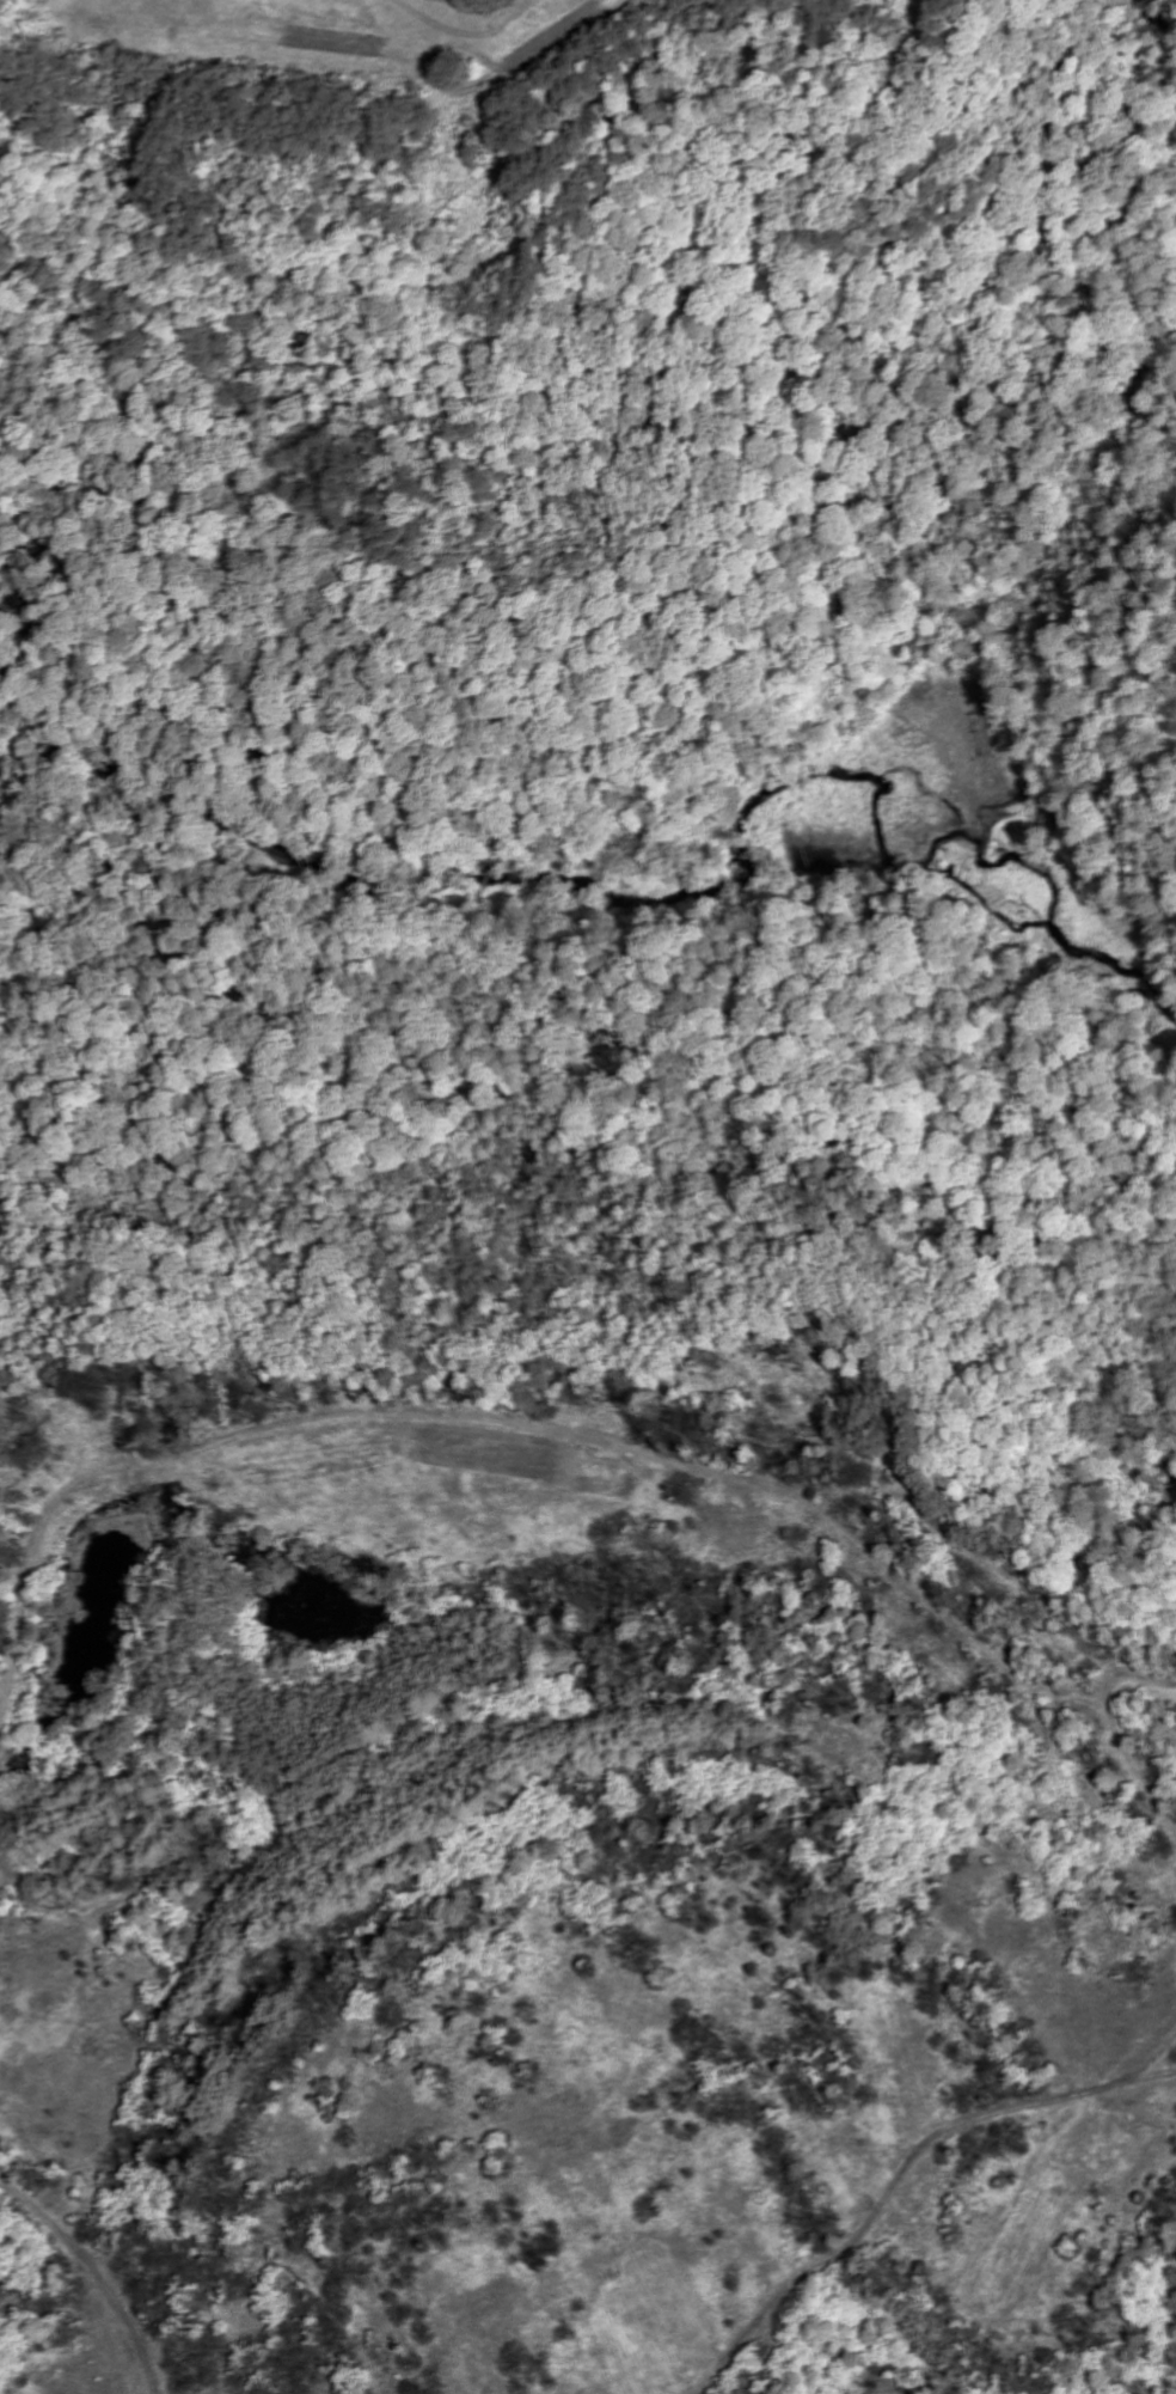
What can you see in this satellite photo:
road: (525, 1421)
road: (1116, 1729)
road: (1158, 2057)
road: (1163, 2077)
road: (900, 2186)
road: (90, 2278)

